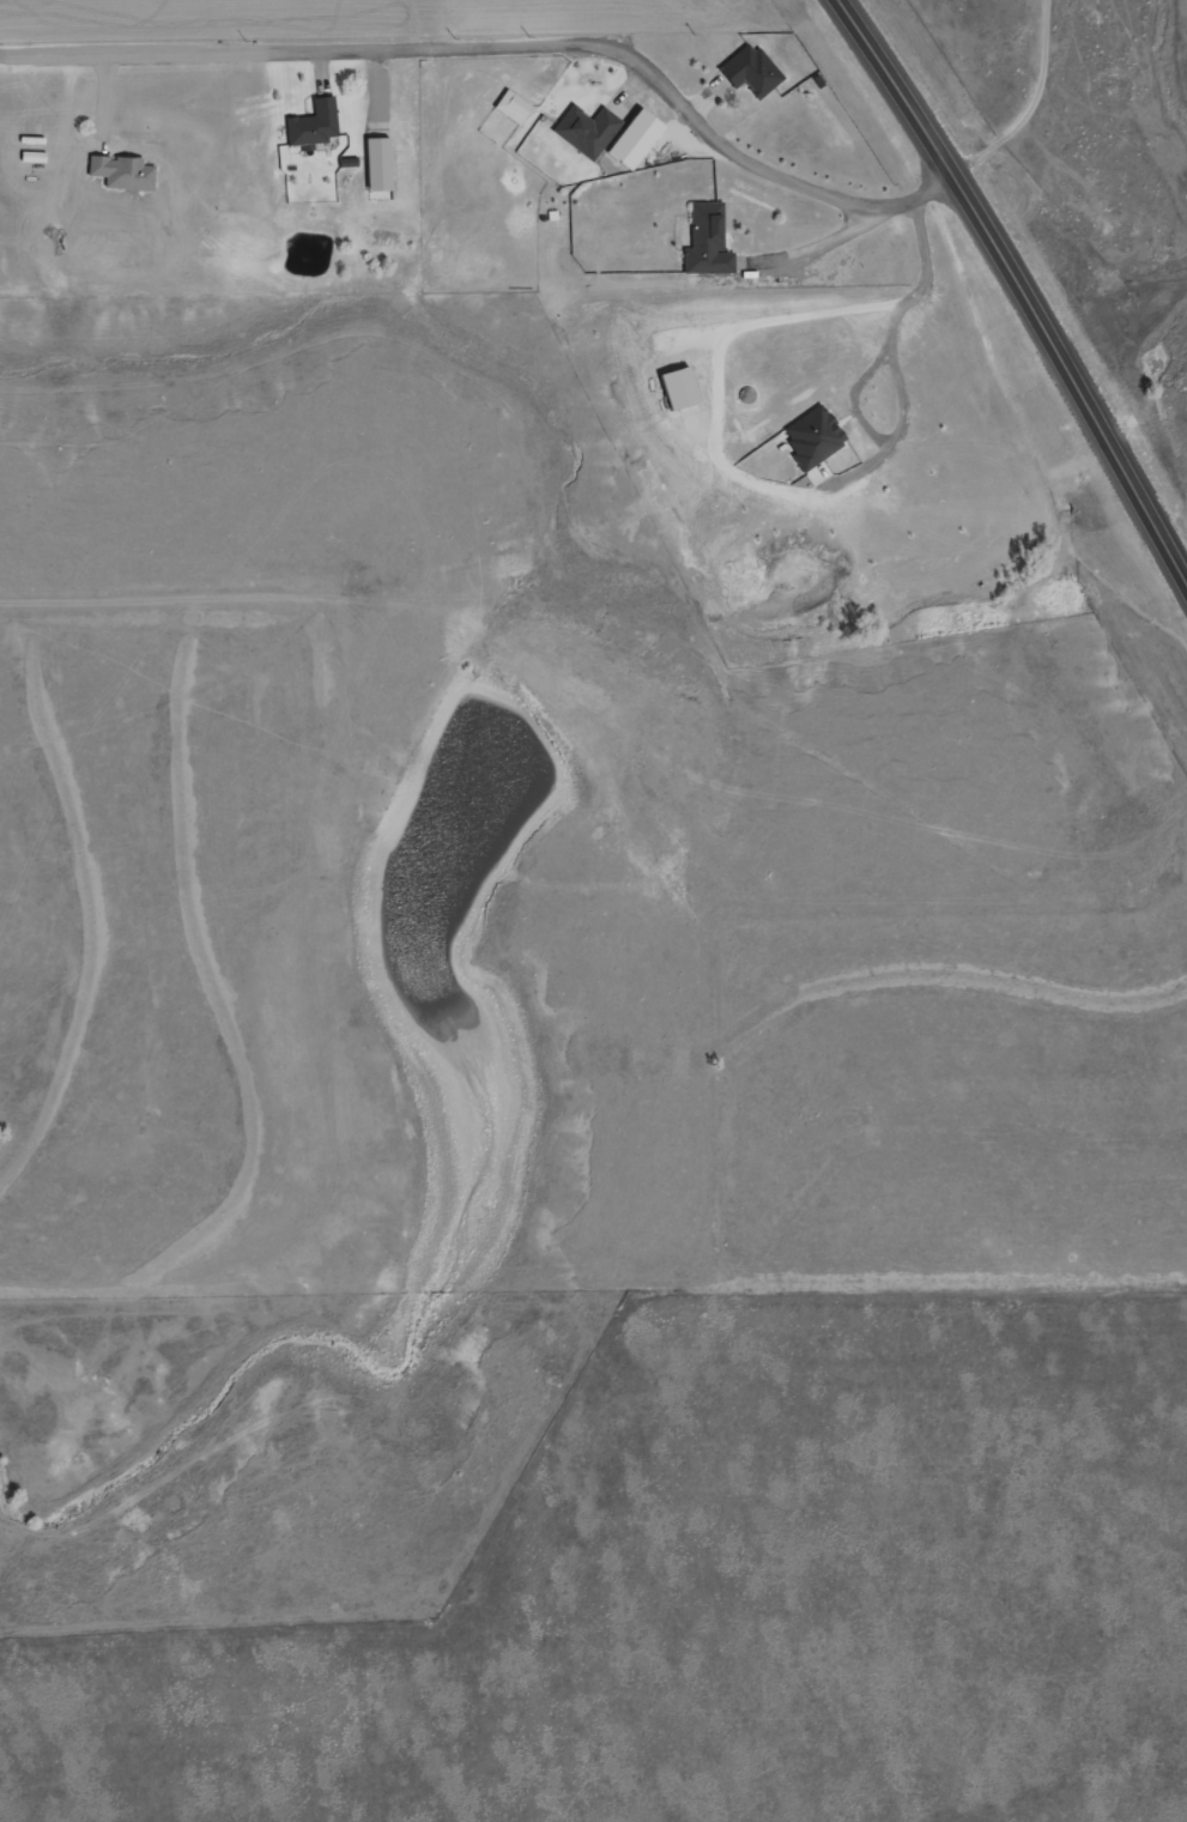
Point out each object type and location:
road: (507, 48)
building: (749, 71)
building: (311, 126)
building: (583, 129)
building: (121, 174)
building: (704, 242)
road: (1018, 292)

